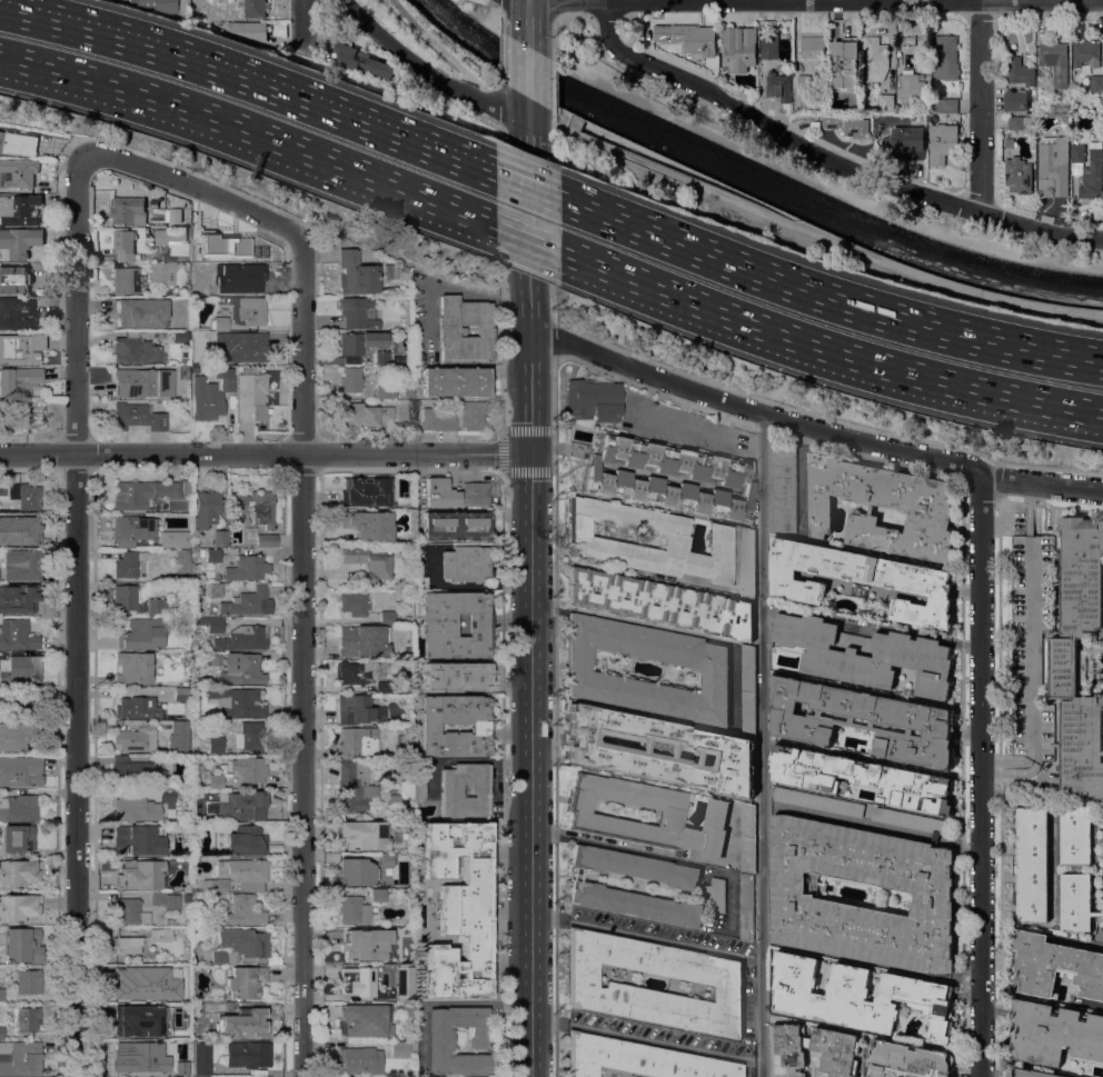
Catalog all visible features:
road: (490, 0)
building: (160, 4)
building: (254, 7)
road: (554, 7)
road: (501, 12)
road: (572, 14)
road: (605, 14)
road: (302, 21)
road: (528, 21)
building: (900, 23)
building: (248, 29)
road: (553, 34)
building: (688, 37)
building: (911, 39)
road: (562, 43)
building: (769, 46)
building: (812, 46)
road: (441, 48)
building: (739, 48)
building: (1085, 51)
road: (500, 54)
building: (946, 57)
building: (874, 59)
building: (1055, 60)
building: (361, 61)
building: (843, 63)
road: (622, 69)
road: (528, 70)
road: (427, 71)
building: (1020, 71)
road: (250, 76)
building: (804, 81)
building: (1093, 82)
road: (553, 83)
building: (778, 86)
building: (911, 87)
building: (1016, 100)
building: (886, 101)
road: (500, 102)
building: (944, 104)
road: (980, 106)
road: (528, 107)
building: (897, 108)
building: (1021, 122)
building: (847, 123)
road: (248, 132)
road: (527, 133)
building: (905, 141)
building: (18, 142)
building: (942, 142)
building: (1008, 142)
building: (1077, 152)
road: (826, 159)
building: (1052, 166)
building: (20, 171)
river: (753, 174)
building: (1017, 174)
building: (1092, 176)
road: (527, 181)
road: (829, 187)
road: (527, 207)
building: (19, 210)
building: (128, 210)
building: (176, 215)
road: (551, 215)
road: (811, 230)
building: (169, 236)
road: (528, 238)
building: (20, 241)
building: (123, 243)
building: (177, 248)
building: (252, 261)
building: (39, 268)
building: (391, 270)
building: (163, 272)
building: (357, 273)
road: (501, 278)
building: (14, 279)
building: (126, 280)
building: (215, 285)
road: (450, 289)
building: (40, 291)
road: (827, 292)
building: (251, 310)
building: (17, 311)
building: (141, 312)
building: (357, 312)
road: (529, 318)
building: (219, 322)
building: (450, 330)
building: (180, 337)
road: (551, 341)
building: (361, 343)
building: (19, 346)
building: (241, 346)
road: (828, 348)
building: (135, 349)
building: (380, 357)
building: (398, 357)
building: (350, 379)
building: (18, 380)
building: (455, 381)
building: (143, 382)
building: (407, 390)
building: (385, 391)
building: (250, 393)
road: (529, 393)
building: (210, 396)
building: (593, 400)
building: (417, 403)
building: (21, 415)
building: (364, 415)
building: (471, 415)
building: (138, 416)
building: (437, 420)
road: (813, 428)
building: (578, 449)
road: (503, 451)
road: (150, 453)
road: (415, 453)
traffic signals: (529, 453)
road: (801, 476)
building: (609, 478)
building: (186, 486)
building: (784, 488)
building: (357, 490)
building: (142, 492)
building: (440, 492)
building: (476, 493)
building: (26, 495)
building: (408, 505)
building: (918, 506)
building: (255, 507)
building: (151, 508)
building: (206, 509)
building: (368, 525)
building: (456, 525)
building: (132, 529)
building: (19, 530)
building: (220, 536)
building: (175, 538)
building: (588, 539)
building: (267, 540)
road: (301, 540)
building: (210, 554)
building: (367, 560)
building: (747, 561)
building: (128, 562)
building: (466, 562)
building: (22, 565)
building: (247, 567)
building: (862, 579)
building: (421, 584)
building: (215, 589)
building: (22, 596)
building: (125, 599)
building: (248, 602)
building: (354, 602)
building: (659, 602)
building: (157, 607)
building: (0, 609)
road: (76, 615)
building: (387, 616)
building: (408, 619)
building: (212, 624)
building: (455, 624)
building: (142, 634)
building: (17, 635)
building: (242, 638)
building: (362, 640)
building: (408, 651)
building: (865, 654)
building: (133, 667)
building: (1063, 667)
building: (241, 668)
building: (20, 669)
building: (714, 669)
building: (356, 671)
building: (455, 675)
building: (182, 682)
building: (382, 686)
building: (748, 688)
building: (182, 694)
building: (236, 701)
building: (13, 707)
building: (138, 707)
building: (357, 709)
road: (554, 718)
building: (863, 720)
building: (429, 727)
building: (179, 736)
building: (249, 736)
building: (372, 739)
building: (135, 740)
building: (4, 742)
building: (216, 745)
road: (761, 745)
building: (659, 749)
road: (529, 765)
building: (249, 768)
building: (23, 769)
building: (133, 771)
road: (980, 774)
building: (862, 777)
building: (216, 780)
building: (418, 782)
building: (355, 786)
building: (451, 787)
building: (168, 795)
building: (818, 801)
building: (395, 802)
building: (244, 805)
building: (20, 808)
building: (136, 808)
building: (585, 815)
building: (910, 819)
road: (870, 825)
building: (1, 828)
building: (364, 835)
building: (18, 837)
building: (747, 837)
building: (140, 838)
building: (247, 840)
road: (610, 842)
building: (1102, 851)
building: (386, 860)
building: (1032, 865)
building: (1076, 868)
building: (356, 871)
building: (18, 872)
building: (139, 874)
building: (241, 874)
building: (586, 886)
building: (716, 894)
building: (378, 895)
building: (792, 895)
building: (166, 900)
building: (1101, 904)
building: (746, 906)
building: (19, 907)
building: (459, 908)
building: (244, 909)
building: (354, 909)
building: (129, 910)
building: (185, 930)
road: (645, 931)
building: (160, 934)
road: (1102, 937)
building: (245, 941)
building: (127, 944)
building: (23, 945)
building: (356, 946)
building: (219, 957)
building: (272, 960)
building: (1053, 966)
building: (161, 969)
building: (246, 980)
building: (357, 980)
building: (29, 981)
building: (406, 983)
building: (719, 983)
building: (126, 985)
building: (1, 994)
building: (858, 996)
building: (407, 1010)
building: (199, 1016)
building: (246, 1016)
building: (26, 1018)
building: (365, 1019)
building: (140, 1020)
building: (2, 1031)
building: (1054, 1033)
road: (634, 1034)
building: (440, 1043)
building: (399, 1048)
building: (841, 1049)
building: (135, 1054)
building: (248, 1054)
building: (201, 1058)
building: (638, 1058)
road: (748, 1058)
building: (22, 1059)
building: (360, 1059)
building: (907, 1060)
building: (175, 1067)
building: (1033, 1073)
building: (192, 1076)

